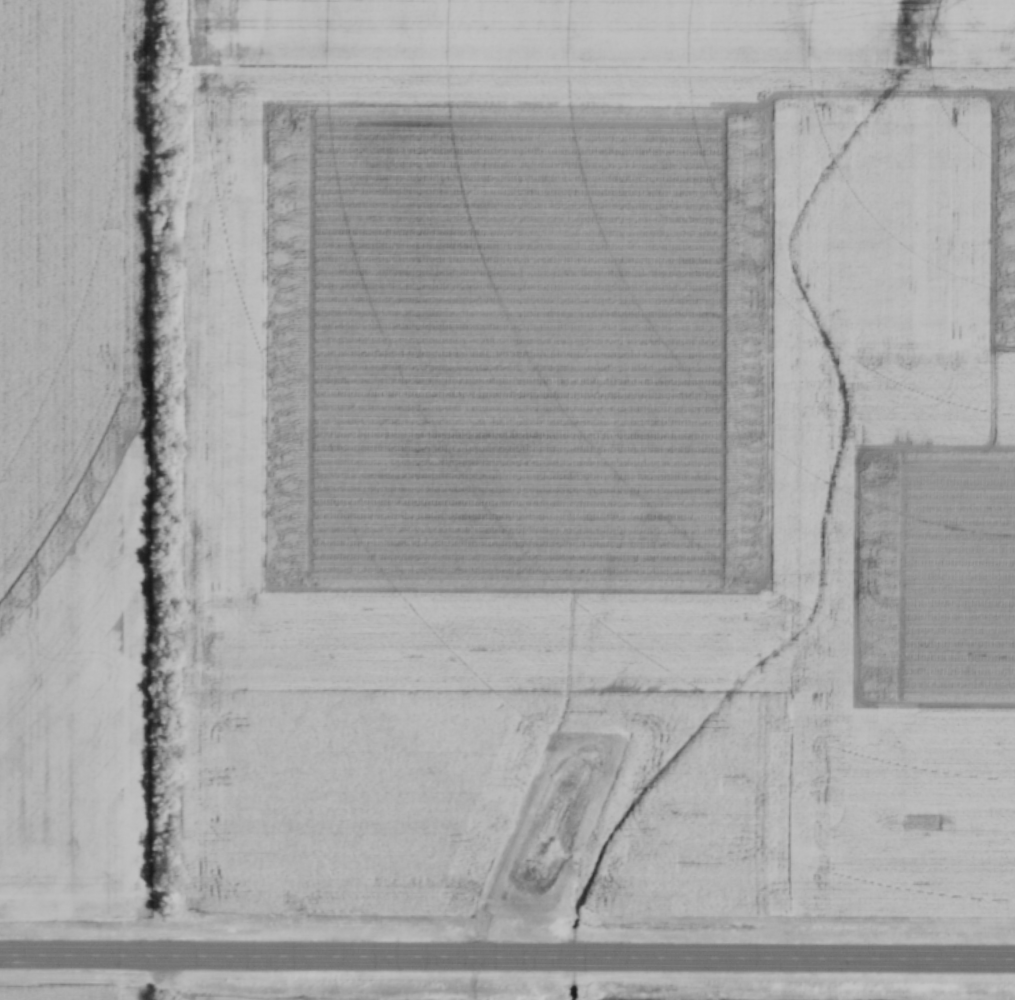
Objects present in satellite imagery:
road: (507, 952)

